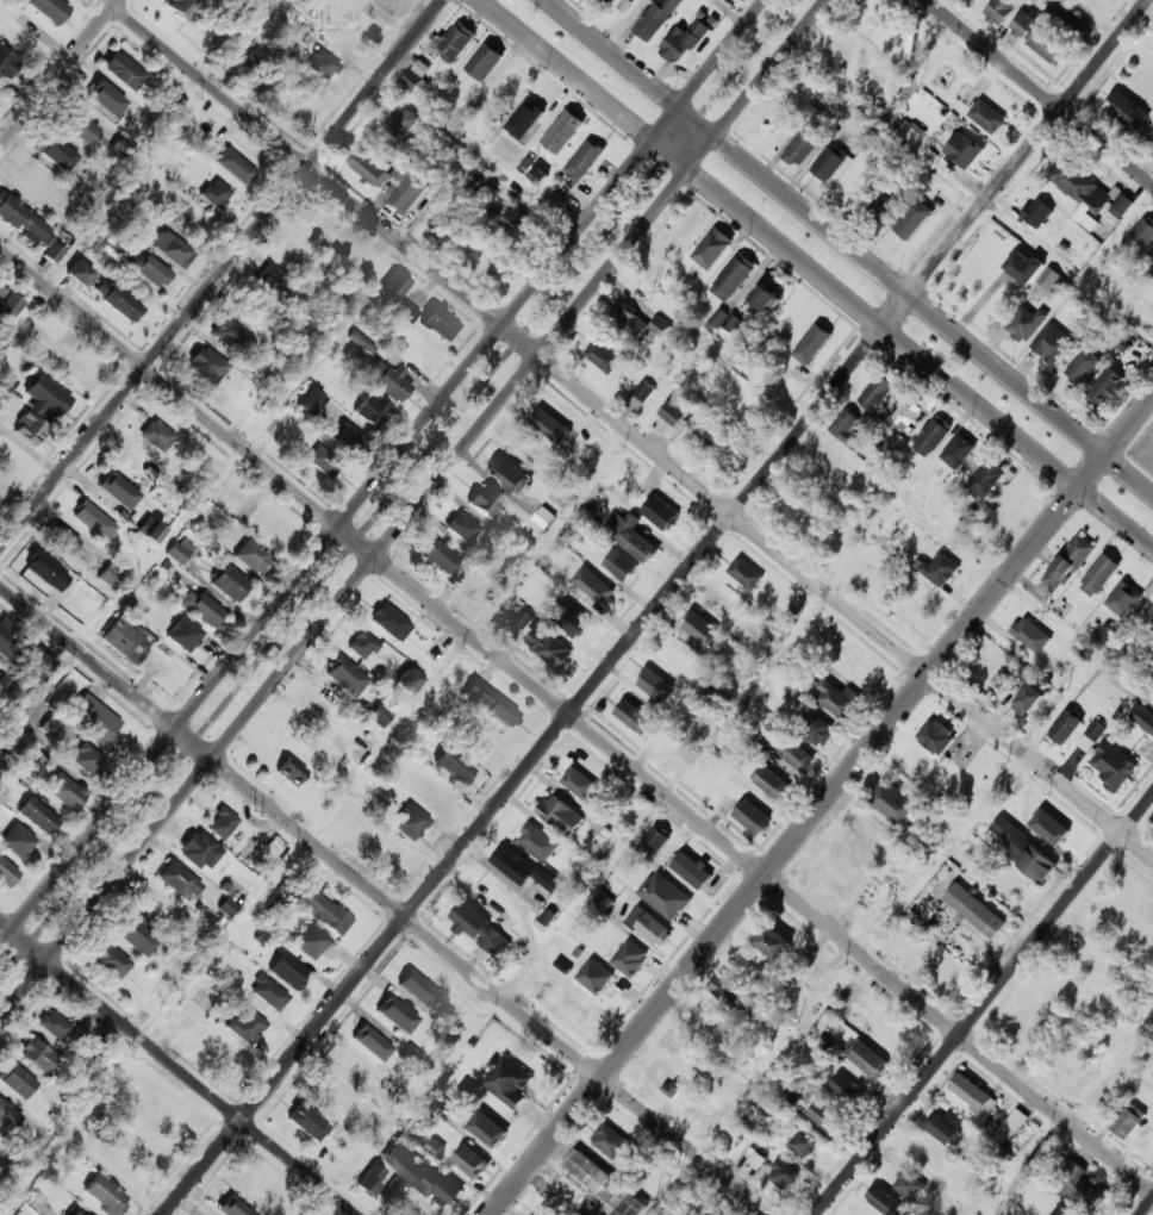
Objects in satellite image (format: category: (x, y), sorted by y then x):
building: (968, 1)
building: (619, 6)
building: (181, 7)
building: (49, 10)
building: (999, 11)
building: (866, 15)
building: (657, 18)
building: (1067, 19)
building: (305, 31)
building: (1041, 39)
building: (684, 40)
building: (456, 42)
building: (485, 62)
building: (6, 63)
building: (255, 64)
building: (322, 66)
building: (123, 71)
road: (58, 73)
building: (417, 77)
road: (1041, 91)
building: (104, 98)
building: (531, 110)
building: (1126, 110)
building: (987, 117)
building: (777, 123)
building: (401, 124)
building: (77, 126)
building: (562, 131)
building: (805, 144)
building: (964, 151)
building: (56, 154)
building: (507, 154)
building: (584, 161)
building: (828, 164)
building: (233, 166)
building: (370, 168)
building: (538, 175)
building: (35, 181)
building: (409, 187)
building: (1078, 191)
building: (216, 194)
building: (1121, 206)
building: (881, 208)
building: (1037, 212)
building: (21, 220)
building: (518, 224)
building: (914, 228)
building: (318, 231)
building: (1143, 231)
road: (850, 247)
building: (170, 249)
building: (715, 250)
building: (52, 251)
building: (490, 261)
building: (1024, 267)
building: (152, 273)
road: (220, 273)
road: (818, 273)
building: (79, 275)
building: (734, 278)
building: (1049, 278)
building: (273, 287)
building: (392, 289)
building: (765, 298)
building: (117, 300)
building: (7, 306)
building: (405, 312)
building: (717, 317)
building: (730, 320)
building: (635, 323)
building: (1026, 323)
building: (440, 324)
building: (231, 337)
building: (812, 343)
building: (1052, 343)
building: (604, 357)
building: (206, 366)
building: (1083, 367)
building: (375, 374)
building: (6, 382)
building: (1107, 388)
building: (878, 391)
building: (48, 397)
building: (640, 397)
building: (310, 403)
building: (372, 410)
building: (906, 412)
building: (674, 415)
building: (554, 426)
building: (846, 426)
road: (629, 428)
building: (29, 429)
building: (933, 435)
building: (156, 436)
building: (349, 438)
building: (958, 451)
building: (323, 463)
road: (382, 472)
building: (507, 474)
building: (986, 479)
road: (393, 487)
road: (201, 494)
building: (123, 496)
building: (485, 501)
building: (1010, 504)
road: (411, 509)
building: (661, 512)
building: (544, 517)
building: (93, 521)
building: (462, 528)
building: (149, 530)
building: (631, 537)
building: (521, 544)
building: (70, 548)
building: (182, 553)
building: (251, 557)
building: (442, 557)
building: (1068, 562)
building: (621, 566)
building: (940, 569)
building: (46, 572)
building: (746, 574)
building: (1099, 574)
building: (110, 577)
building: (231, 584)
building: (596, 592)
building: (1127, 596)
road: (655, 606)
building: (200, 609)
building: (1149, 617)
building: (523, 619)
building: (572, 619)
building: (389, 623)
building: (699, 628)
building: (1030, 634)
building: (6, 636)
building: (183, 636)
building: (126, 641)
building: (548, 646)
building: (362, 647)
building: (435, 650)
building: (40, 666)
building: (1002, 675)
building: (345, 677)
building: (409, 680)
building: (654, 683)
building: (834, 698)
building: (1030, 698)
building: (712, 699)
building: (491, 704)
building: (380, 715)
building: (634, 716)
building: (1143, 717)
road: (576, 721)
building: (98, 722)
building: (1066, 725)
building: (816, 728)
building: (935, 734)
road: (388, 735)
building: (19, 744)
building: (785, 748)
building: (86, 759)
building: (1113, 765)
building: (453, 766)
building: (289, 769)
building: (771, 781)
building: (581, 785)
building: (64, 791)
building: (434, 795)
building: (893, 803)
road: (821, 805)
building: (561, 814)
building: (38, 815)
building: (753, 816)
building: (222, 823)
building: (409, 823)
building: (1057, 835)
building: (20, 841)
building: (537, 841)
building: (654, 841)
building: (251, 849)
building: (1024, 849)
building: (199, 850)
building: (392, 853)
building: (522, 866)
building: (692, 870)
building: (6, 873)
building: (179, 880)
building: (665, 895)
road: (385, 901)
building: (602, 901)
road: (578, 903)
building: (923, 905)
building: (155, 909)
building: (974, 910)
building: (324, 911)
building: (649, 927)
building: (480, 928)
building: (133, 933)
building: (311, 943)
building: (779, 945)
building: (630, 958)
building: (110, 960)
building: (942, 968)
building: (288, 971)
building: (602, 982)
road: (839, 982)
building: (417, 990)
building: (729, 991)
building: (268, 992)
building: (204, 999)
road: (981, 1005)
building: (463, 1008)
building: (392, 1010)
building: (181, 1020)
building: (709, 1020)
building: (54, 1026)
building: (245, 1026)
building: (366, 1036)
building: (222, 1052)
building: (37, 1055)
building: (870, 1059)
road: (177, 1068)
building: (15, 1080)
building: (506, 1080)
building: (672, 1088)
building: (846, 1088)
building: (973, 1093)
building: (823, 1115)
building: (8, 1117)
building: (174, 1120)
building: (1128, 1120)
building: (306, 1121)
building: (1012, 1122)
building: (946, 1127)
building: (486, 1130)
building: (803, 1142)
building: (615, 1144)
building: (756, 1159)
building: (470, 1160)
building: (783, 1173)
building: (416, 1174)
building: (370, 1179)
building: (908, 1183)
building: (604, 1184)
building: (1079, 1185)
building: (105, 1195)
building: (885, 1200)
building: (233, 1207)
road: (1146, 1207)
building: (542, 1210)
building: (1062, 1210)
building: (716, 1214)

